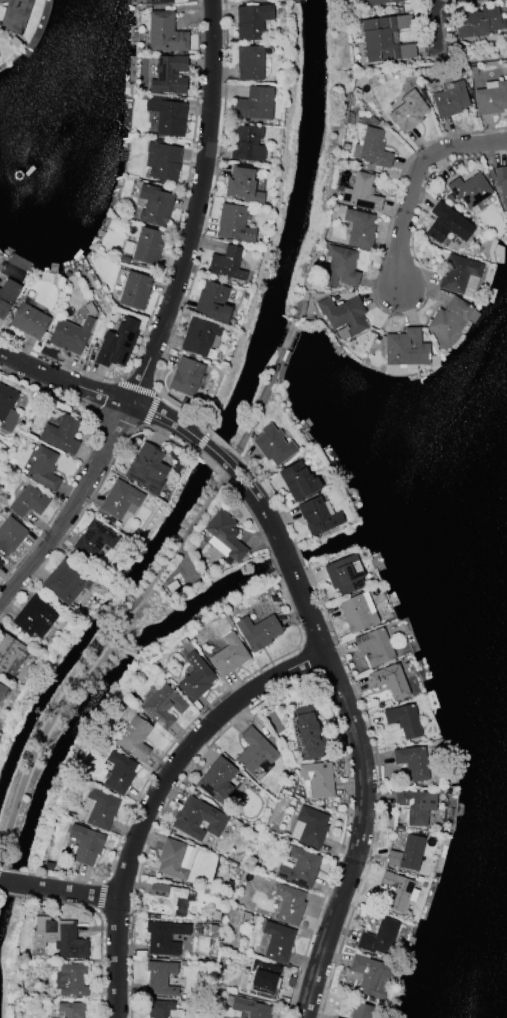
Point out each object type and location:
building: (159, 2)
building: (376, 2)
building: (14, 15)
building: (252, 21)
building: (479, 22)
building: (164, 33)
building: (385, 39)
building: (250, 63)
building: (168, 75)
building: (491, 98)
building: (450, 99)
building: (254, 104)
building: (408, 111)
building: (167, 117)
building: (245, 144)
building: (371, 149)
building: (162, 162)
road: (413, 177)
building: (501, 183)
building: (241, 185)
building: (469, 189)
building: (361, 193)
building: (154, 205)
road: (272, 218)
building: (233, 224)
building: (447, 224)
building: (359, 229)
road: (205, 230)
building: (148, 245)
building: (226, 263)
building: (340, 267)
building: (457, 273)
building: (135, 290)
building: (7, 295)
building: (212, 301)
road: (382, 309)
building: (343, 314)
building: (449, 317)
building: (29, 320)
road: (161, 320)
building: (70, 335)
building: (199, 337)
building: (116, 343)
building: (406, 347)
building: (185, 376)
road: (136, 387)
road: (99, 392)
building: (7, 408)
road: (255, 409)
road: (150, 411)
road: (204, 429)
road: (206, 432)
building: (61, 434)
road: (162, 434)
road: (218, 440)
road: (201, 441)
building: (273, 445)
road: (209, 449)
road: (193, 450)
road: (236, 454)
road: (84, 458)
road: (207, 461)
building: (147, 467)
building: (43, 469)
road: (222, 475)
building: (298, 480)
road: (256, 499)
road: (275, 499)
building: (120, 500)
building: (27, 501)
road: (249, 514)
building: (317, 516)
road: (71, 528)
building: (10, 536)
building: (224, 537)
building: (94, 540)
road: (299, 555)
road: (286, 558)
building: (0, 563)
road: (274, 564)
building: (344, 574)
building: (65, 581)
building: (357, 612)
building: (34, 617)
building: (258, 631)
building: (374, 646)
building: (10, 651)
building: (229, 655)
road: (93, 657)
building: (195, 677)
building: (390, 681)
road: (282, 688)
building: (2, 691)
building: (163, 705)
road: (198, 714)
building: (404, 720)
building: (305, 733)
building: (132, 736)
building: (255, 751)
building: (413, 762)
building: (119, 772)
building: (318, 779)
building: (216, 780)
road: (379, 789)
road: (363, 792)
road: (153, 797)
building: (416, 805)
building: (99, 808)
building: (198, 818)
building: (309, 827)
building: (86, 844)
building: (407, 854)
building: (172, 859)
building: (300, 867)
road: (1, 868)
road: (15, 870)
road: (65, 879)
road: (12, 881)
road: (71, 890)
building: (394, 892)
road: (12, 894)
road: (100, 896)
building: (164, 898)
road: (61, 903)
building: (289, 904)
road: (95, 928)
building: (59, 937)
building: (164, 937)
building: (379, 937)
building: (277, 942)
road: (100, 964)
building: (370, 975)
building: (161, 977)
building: (70, 980)
building: (266, 980)
road: (101, 992)
building: (159, 1008)
building: (250, 1008)
building: (67, 1010)
building: (361, 1010)
building: (337, 1017)

